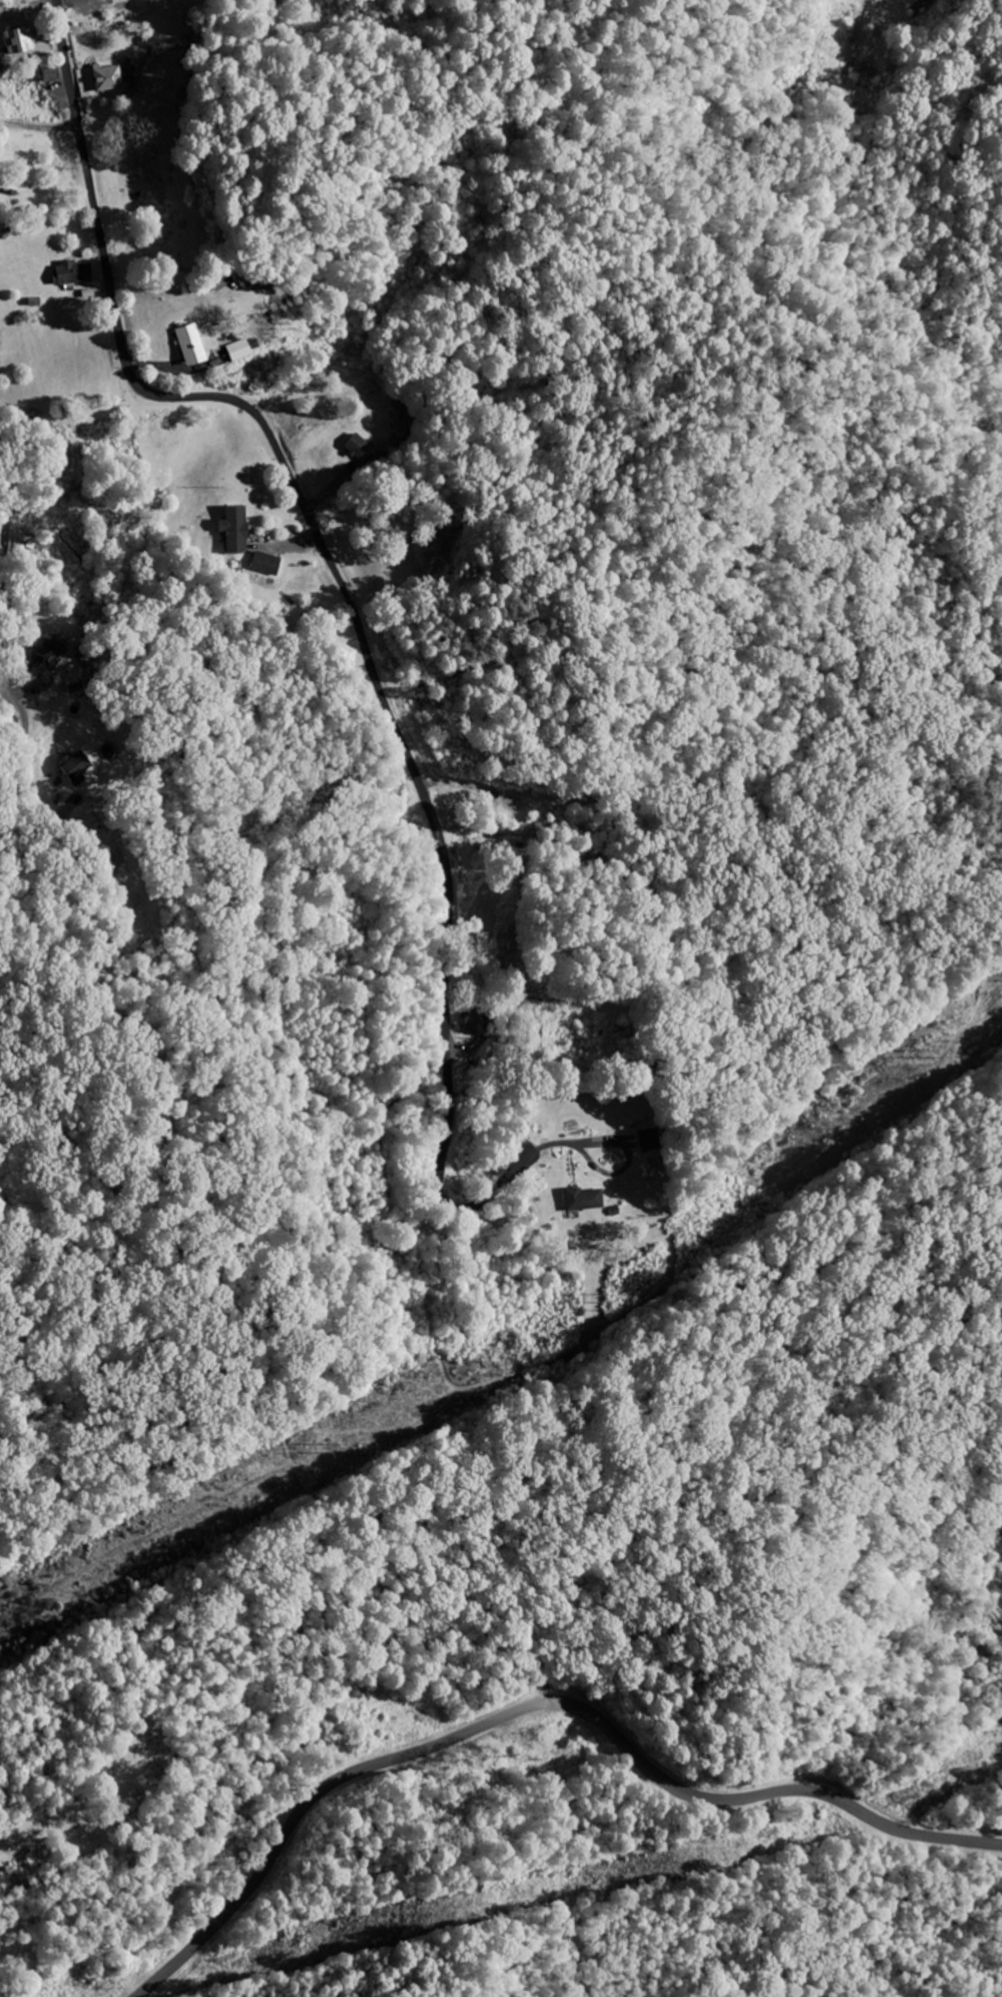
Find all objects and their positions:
road: (861, 22)
building: (17, 38)
building: (853, 72)
building: (105, 76)
road: (39, 125)
building: (69, 272)
building: (298, 287)
building: (186, 343)
building: (234, 349)
road: (68, 450)
road: (4, 526)
building: (231, 526)
building: (262, 562)
road: (349, 597)
building: (48, 650)
road: (7, 693)
building: (73, 765)
building: (583, 1198)
power tower: (611, 1303)
power tower: (325, 1446)
road: (534, 1704)
road: (39, 1825)

